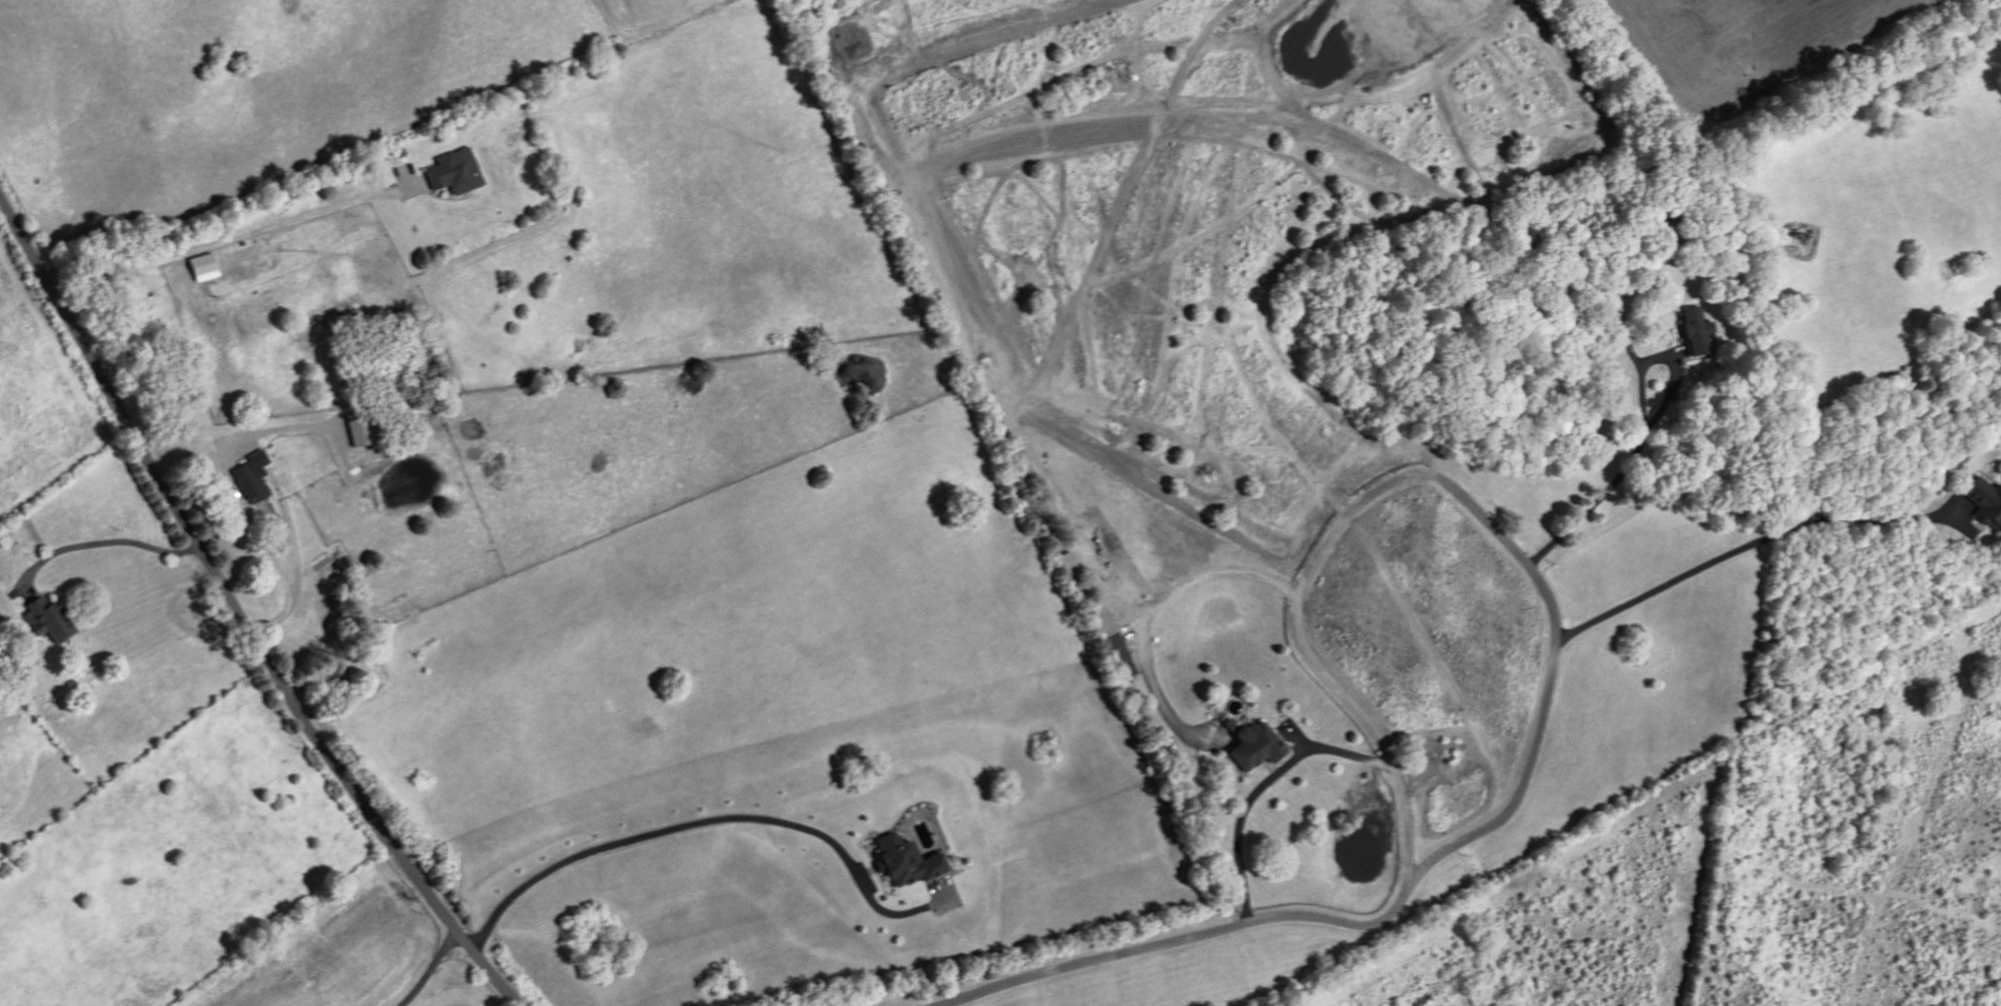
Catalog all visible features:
building: (453, 170)
road: (235, 235)
building: (202, 265)
building: (1696, 323)
building: (359, 427)
road: (1645, 436)
building: (251, 476)
road: (1436, 478)
building: (1986, 499)
road: (101, 540)
road: (1746, 549)
building: (1067, 559)
road: (1157, 607)
road: (238, 613)
building: (45, 619)
building: (1114, 640)
building: (1253, 744)
road: (1260, 788)
road: (709, 820)
building: (907, 859)
road: (1175, 943)
road: (431, 968)

